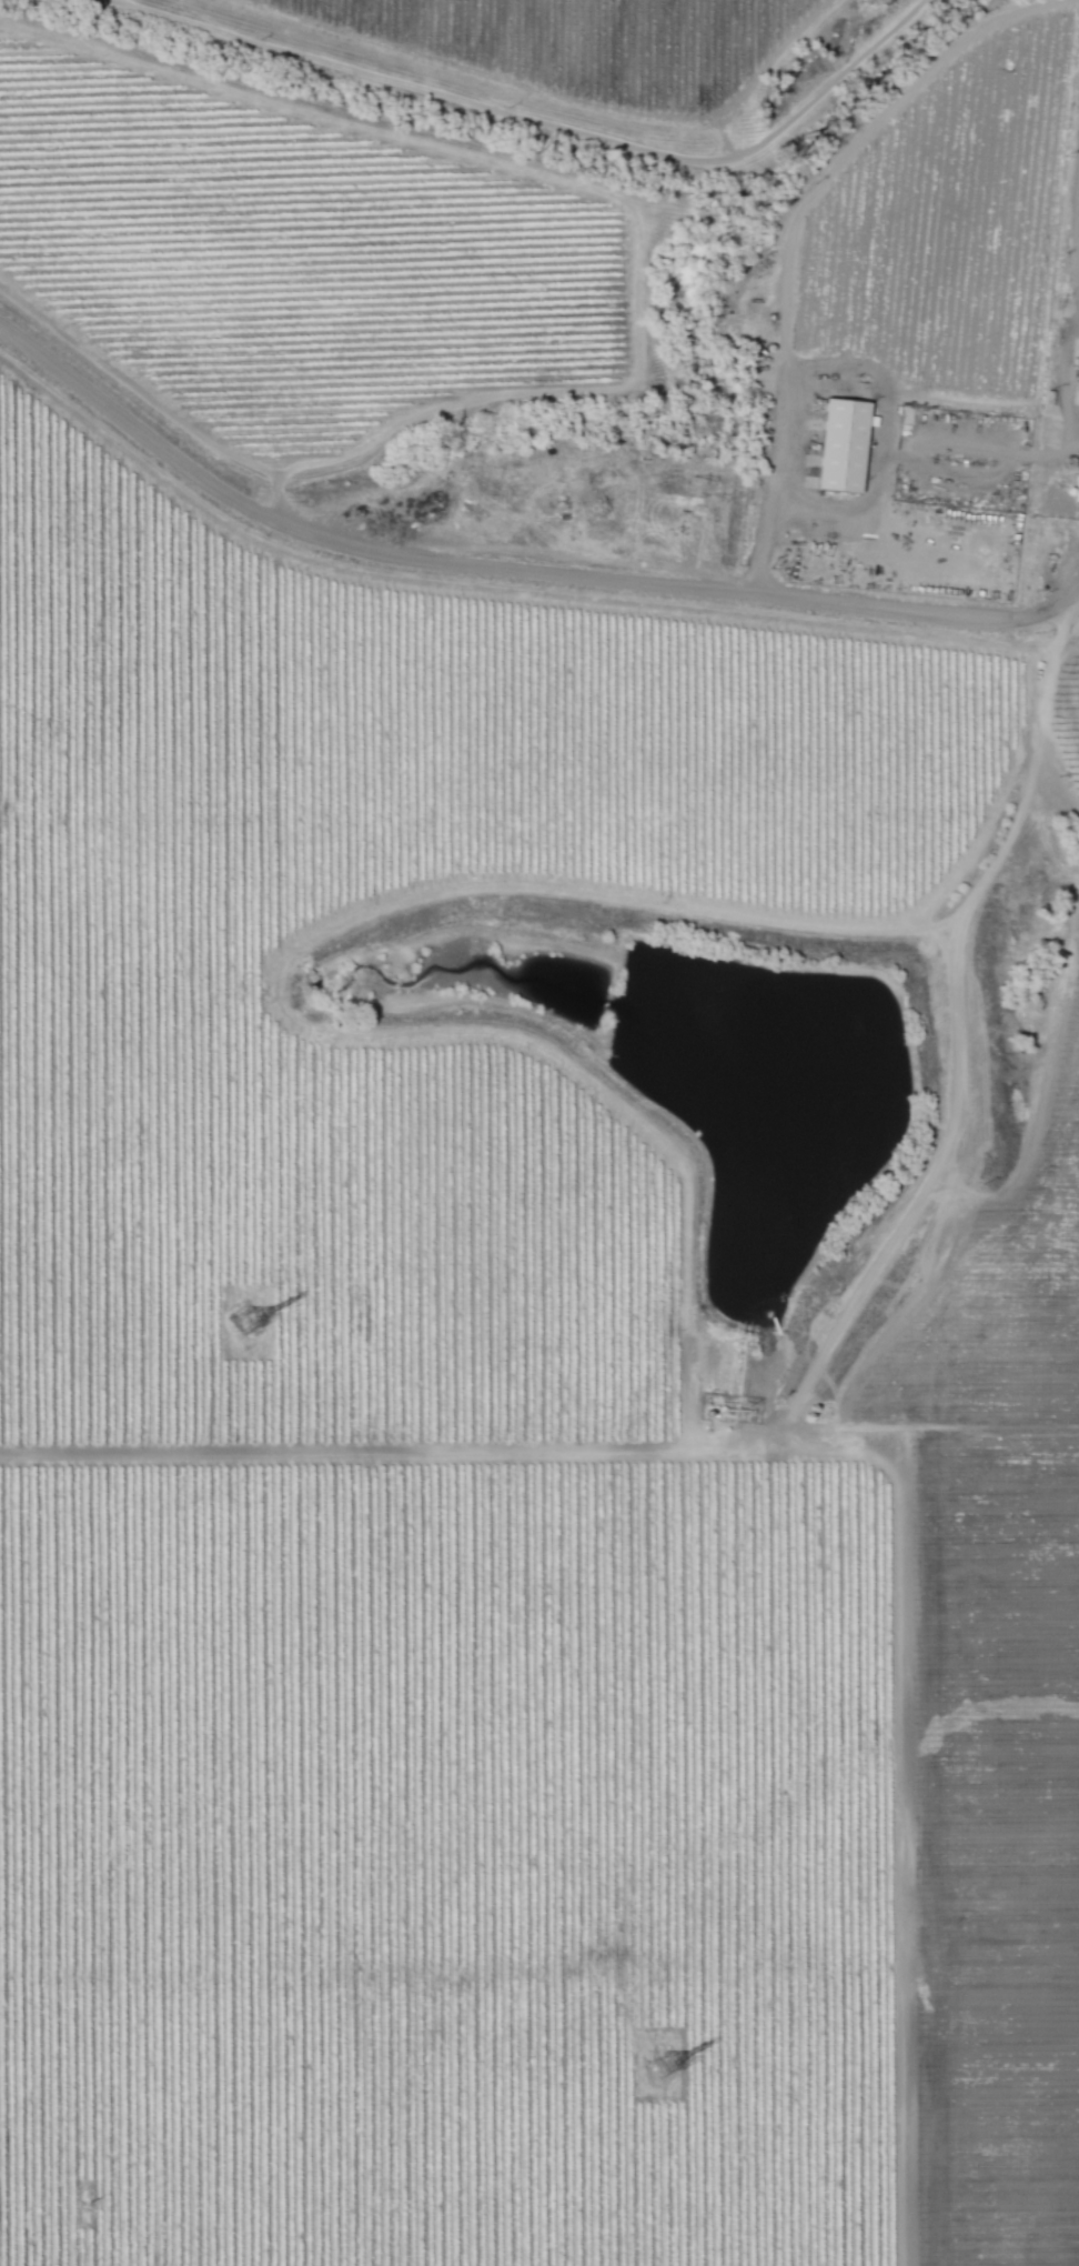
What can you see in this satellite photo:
road: (537, 121)
road: (877, 380)
road: (1066, 380)
building: (836, 445)
building: (1077, 472)
road: (510, 570)
road: (954, 1046)
power tower: (242, 1314)
road: (846, 1451)
power tower: (633, 2028)

